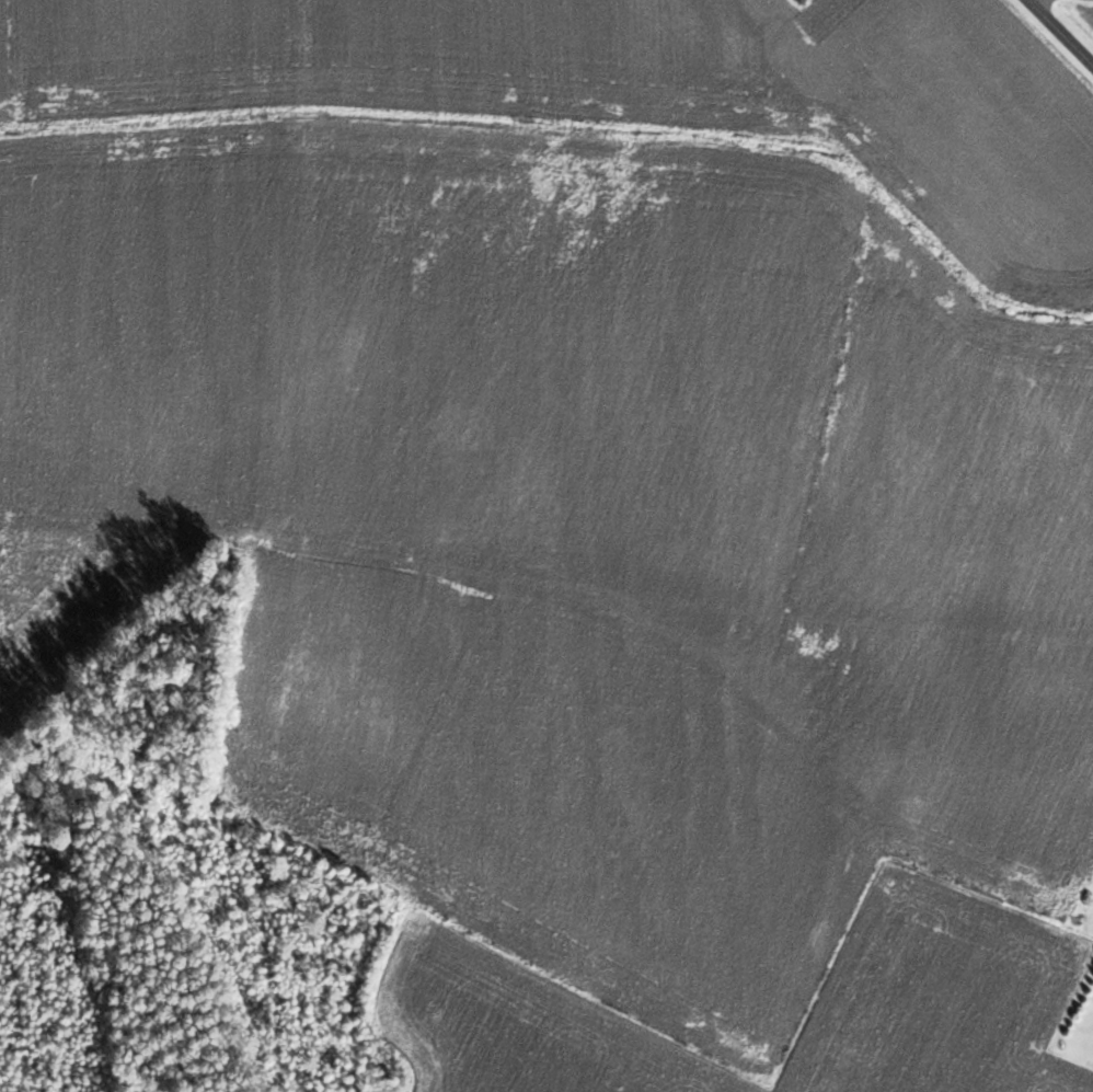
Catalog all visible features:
road: (1034, 0)
road: (1061, 33)

